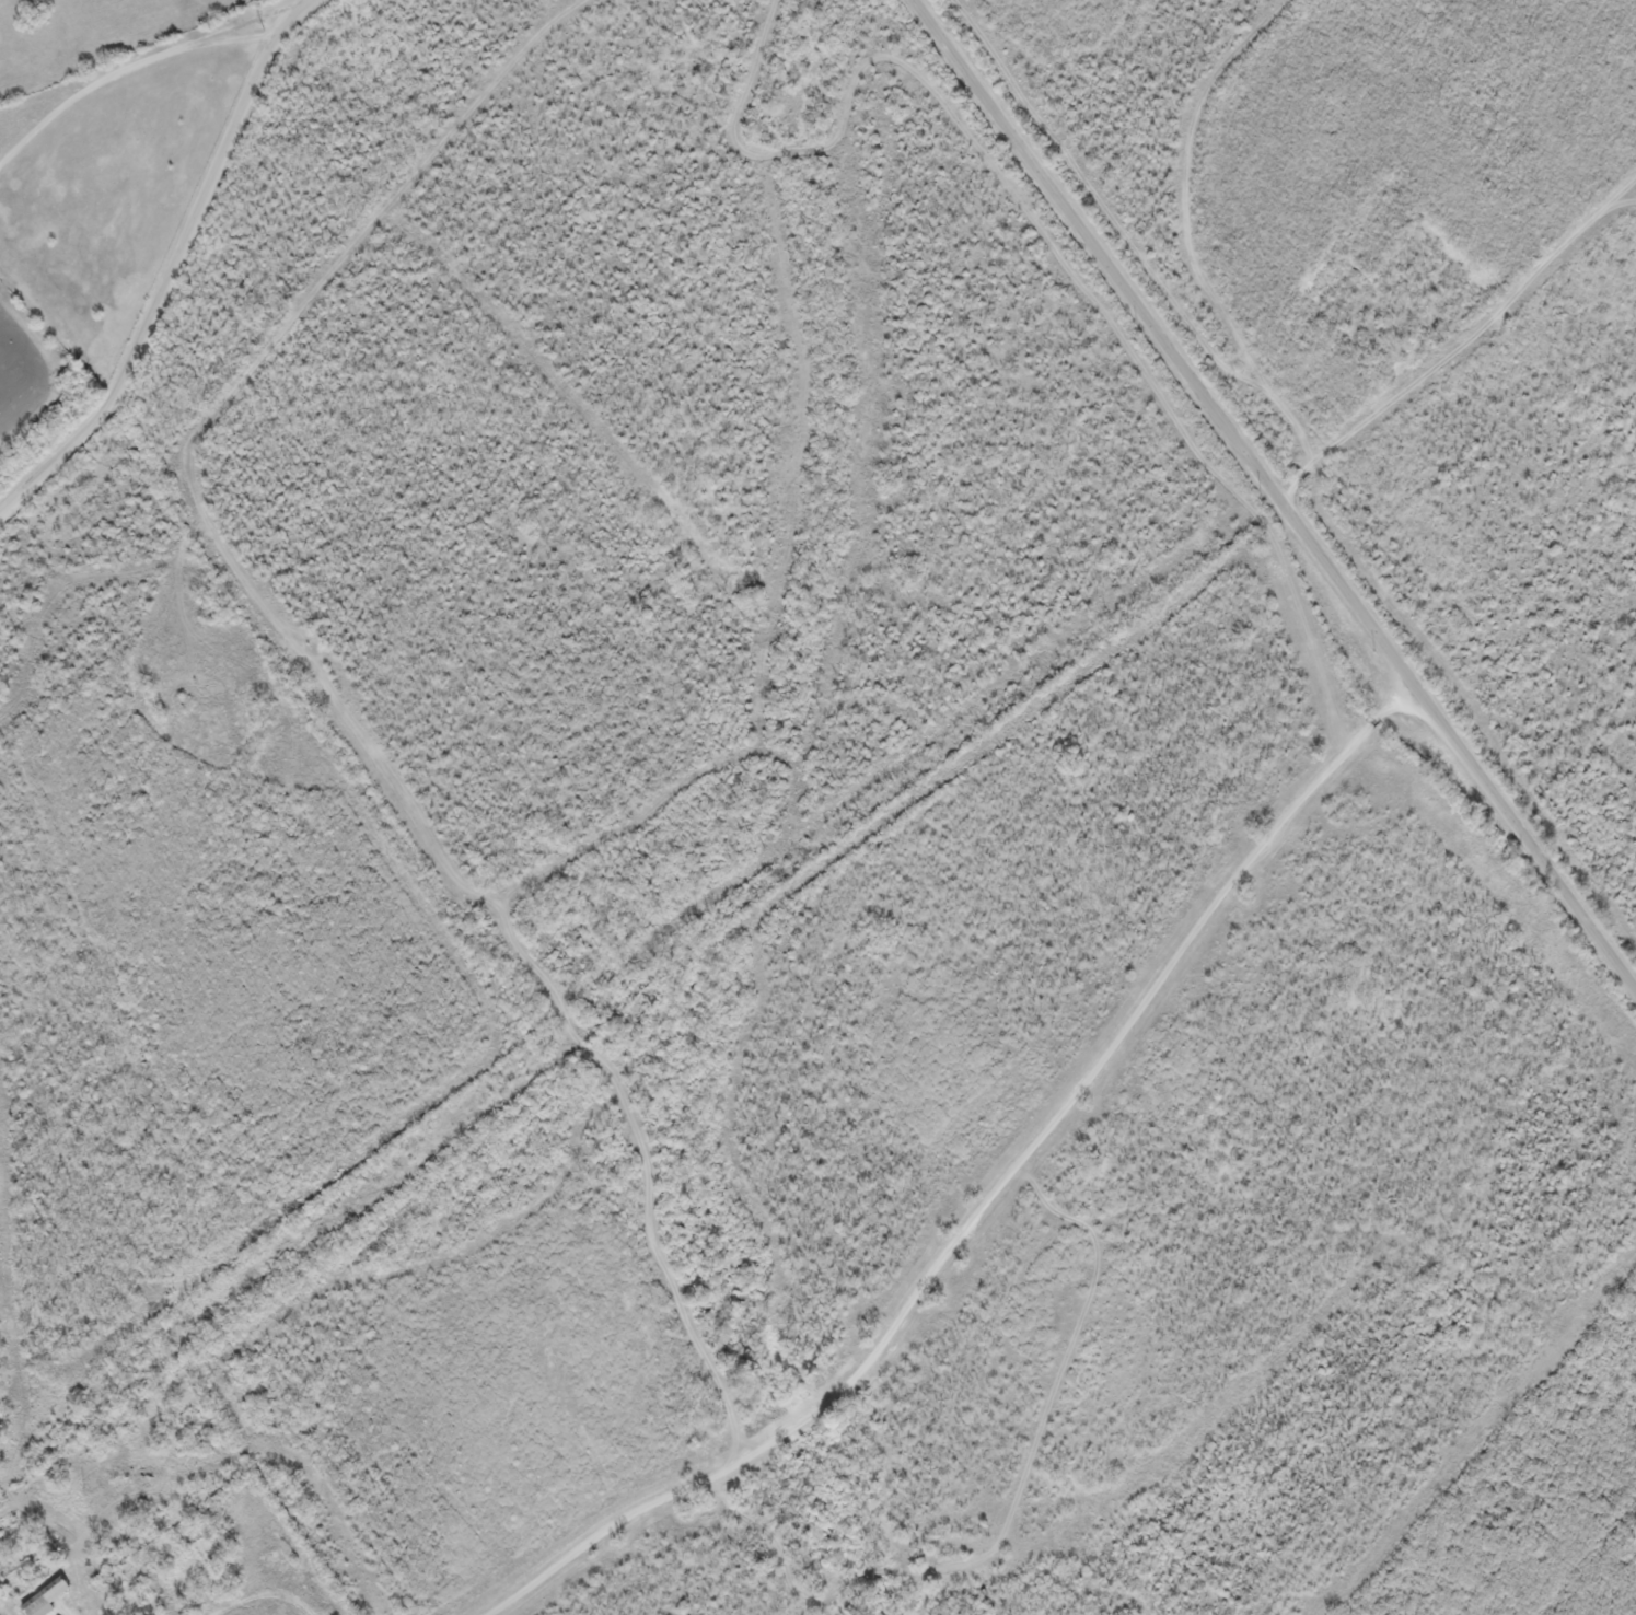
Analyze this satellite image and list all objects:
road: (176, 270)
road: (1457, 335)
road: (1273, 495)
road: (985, 1219)
building: (197, 1560)
building: (117, 1589)
building: (46, 1596)
building: (80, 1601)

